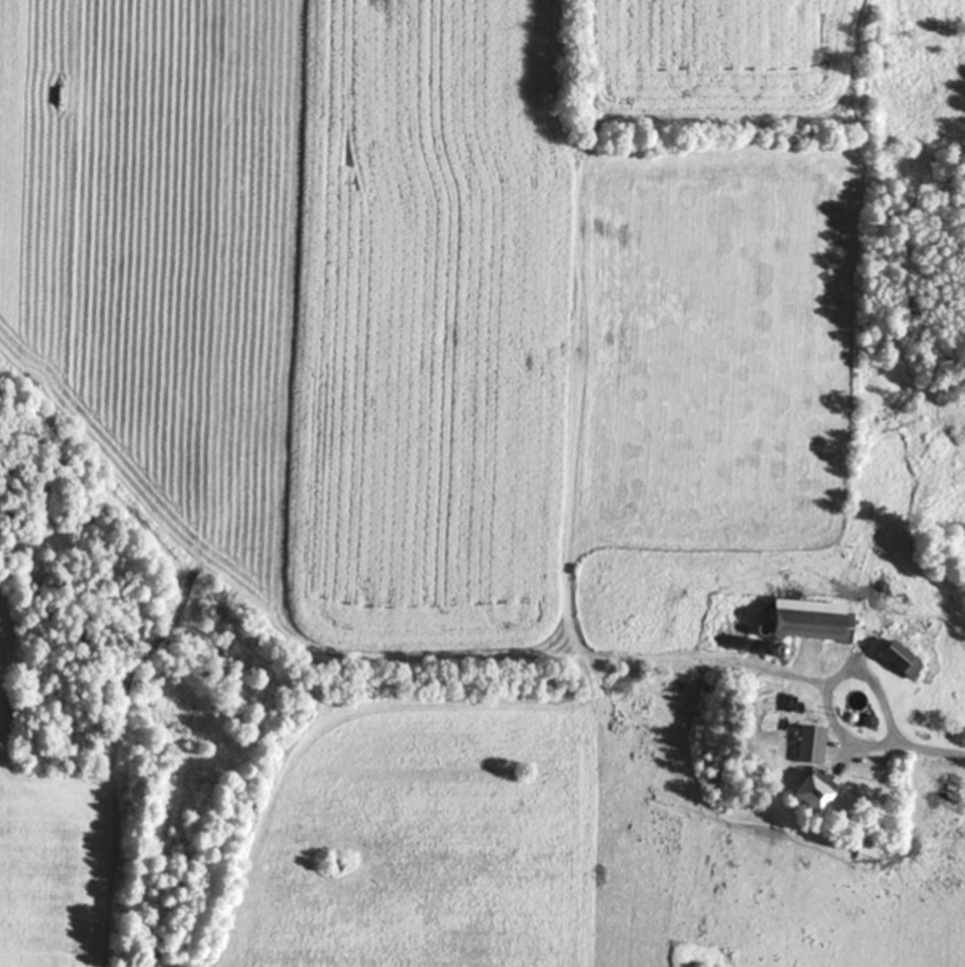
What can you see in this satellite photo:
building: (803, 622)
building: (808, 746)
building: (808, 793)
building: (863, 849)

